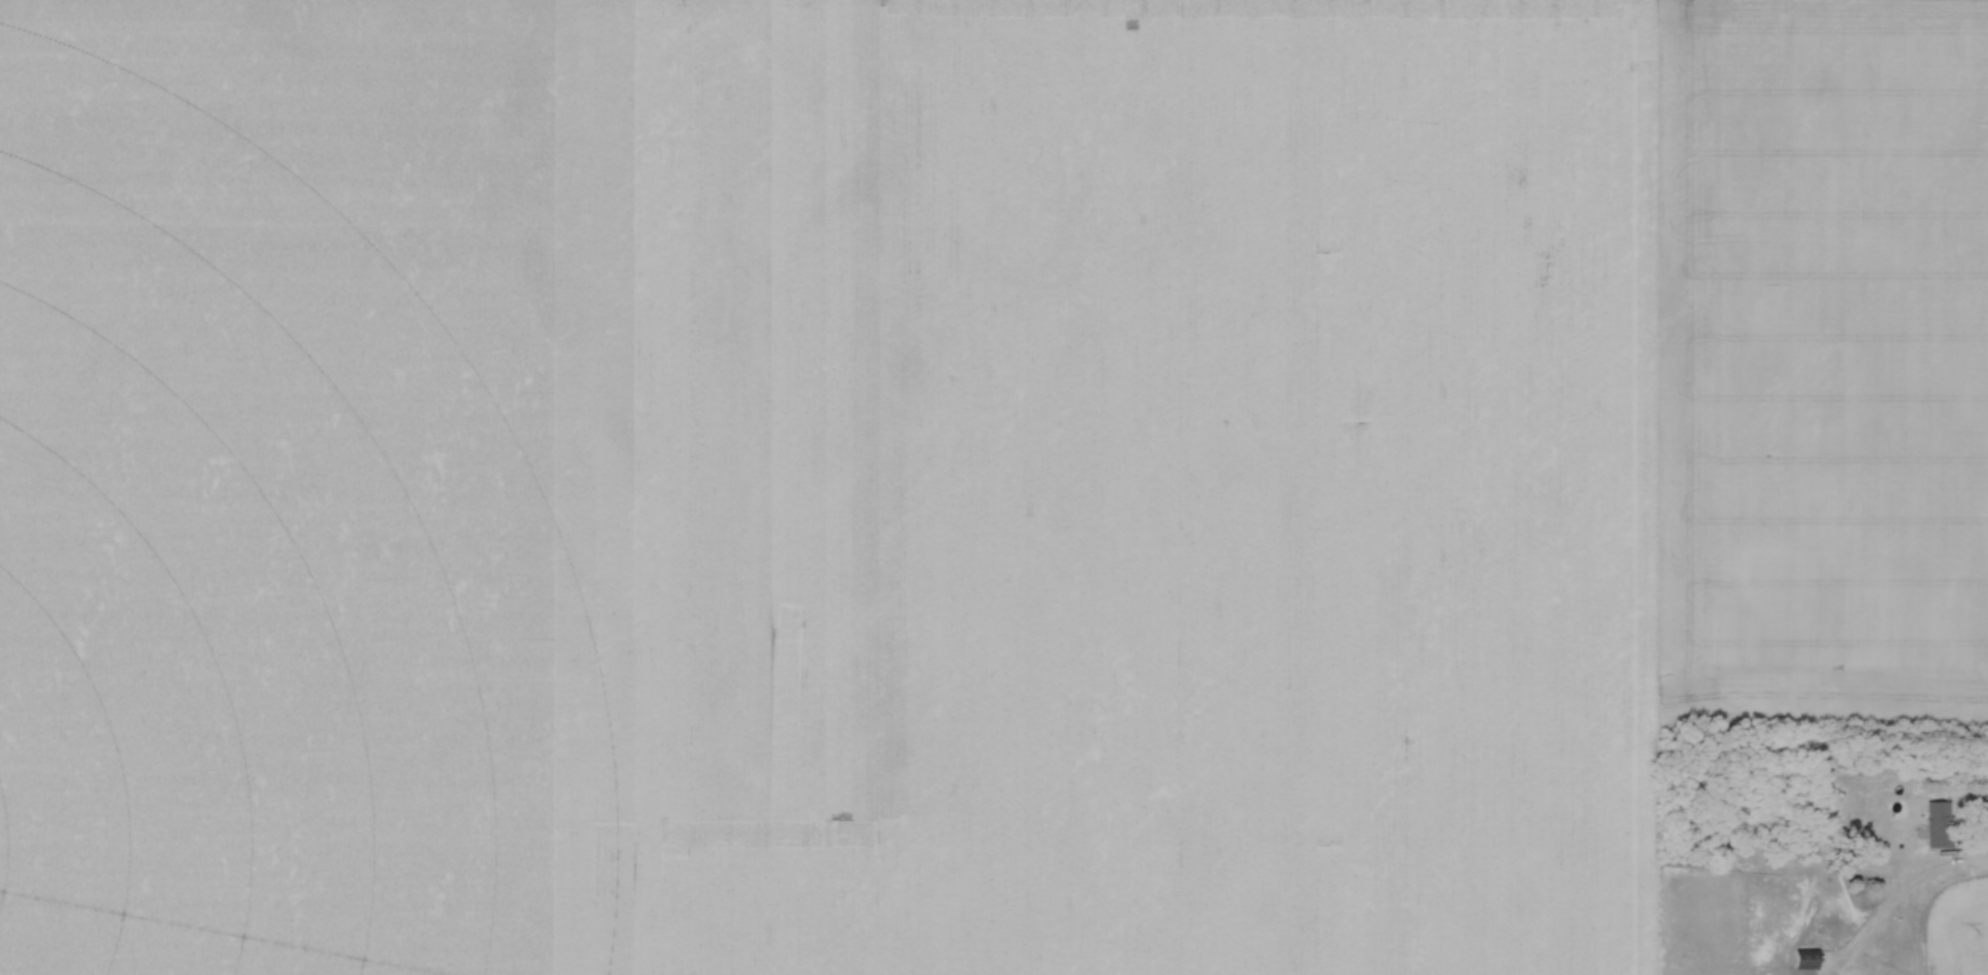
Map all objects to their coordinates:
building: (1942, 826)
building: (1811, 960)

